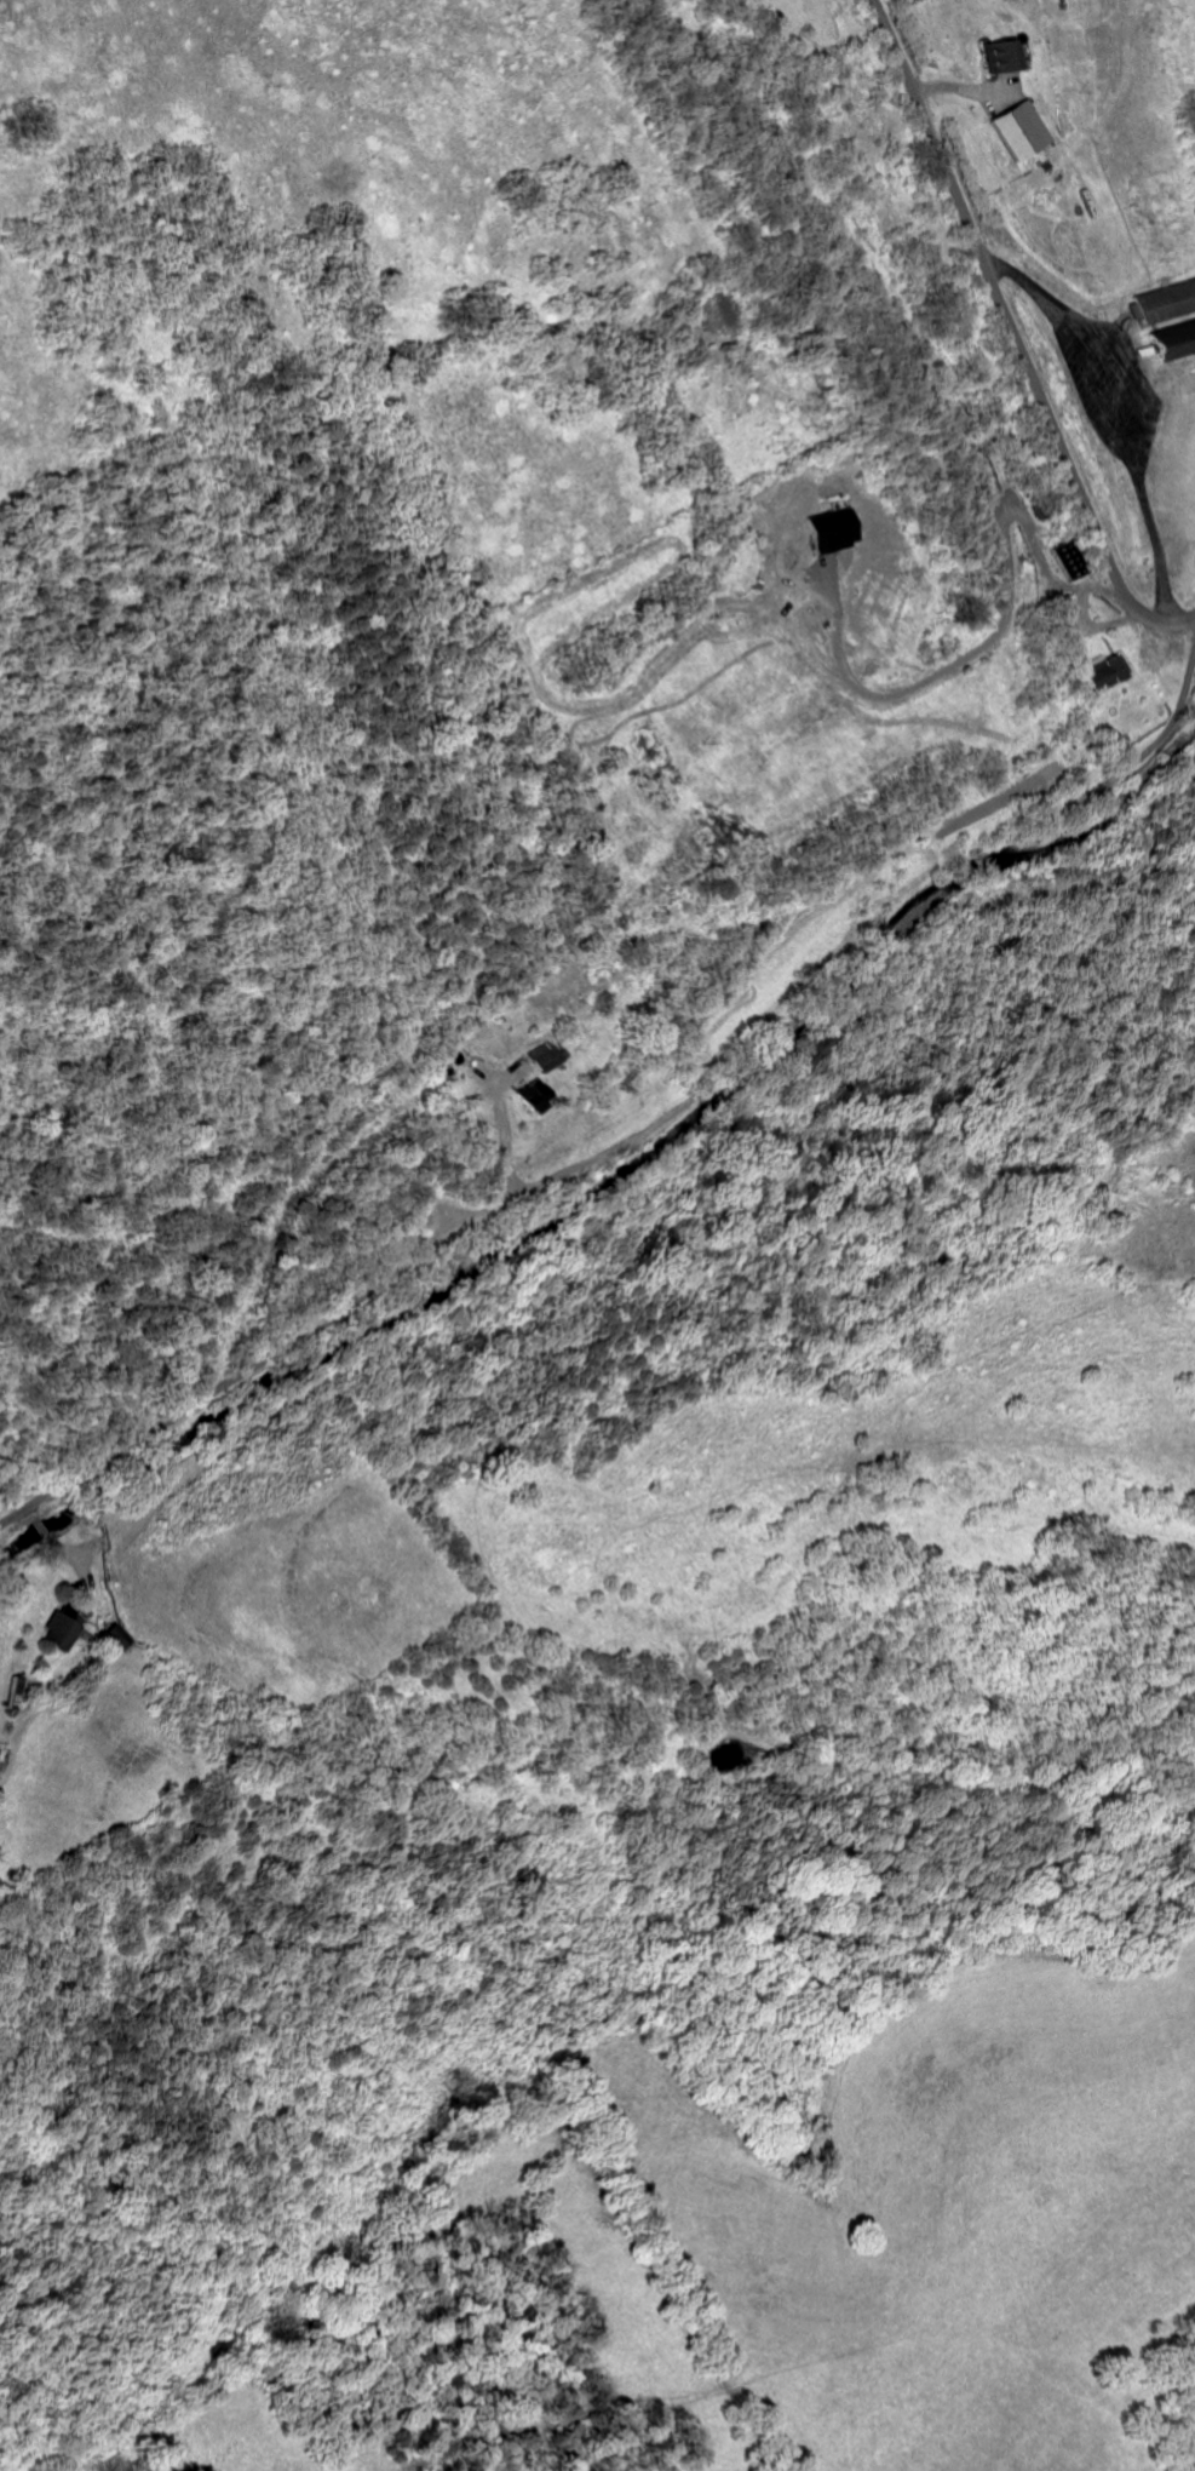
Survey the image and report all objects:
building: (1000, 56)
building: (1017, 131)
building: (1165, 300)
road: (1016, 336)
building: (1172, 339)
road: (1109, 423)
road: (1080, 614)
road: (978, 648)
building: (1104, 672)
building: (544, 1057)
building: (529, 1096)
road: (645, 1135)
road: (502, 1136)
building: (63, 1632)
building: (22, 1691)

